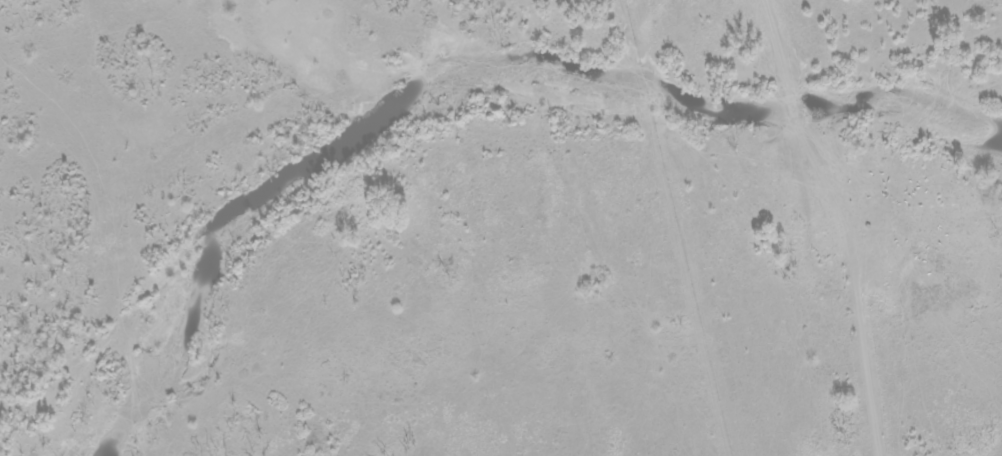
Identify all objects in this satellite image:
road: (839, 226)

